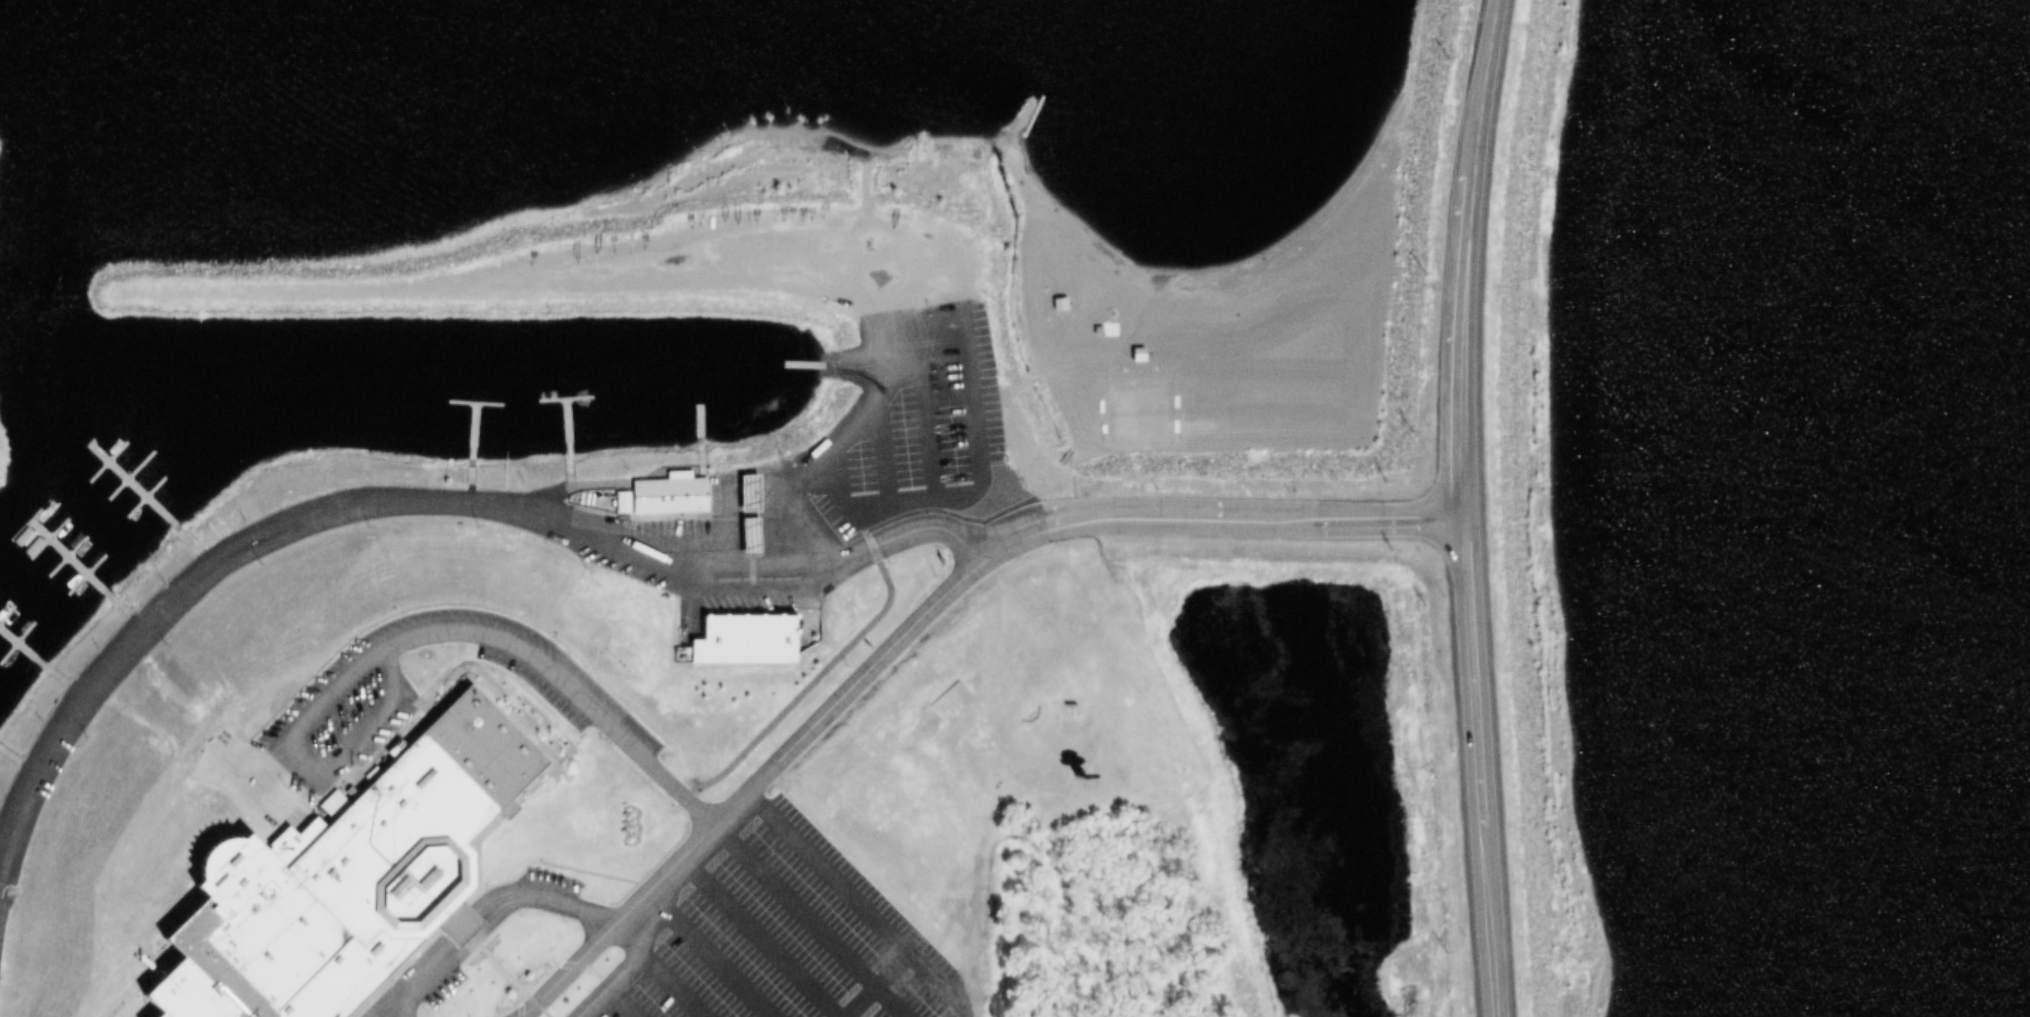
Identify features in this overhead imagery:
road: (1467, 87)
road: (1455, 350)
pier: (807, 367)
pier: (469, 405)
pier: (571, 407)
road: (862, 413)
pier: (704, 426)
pier: (481, 440)
pier: (107, 442)
pier: (127, 459)
pier: (90, 460)
pier: (574, 461)
pier: (109, 478)
pier: (139, 487)
building: (667, 497)
road: (424, 499)
pier: (157, 504)
pier: (158, 504)
pier: (50, 520)
building: (750, 534)
pier: (70, 537)
pier: (33, 538)
building: (579, 553)
pier: (52, 556)
pier: (82, 564)
pier: (93, 576)
pier: (101, 582)
pier: (3, 602)
road: (921, 620)
pier: (14, 632)
road: (463, 633)
building: (744, 641)
pier: (34, 650)
pier: (42, 658)
road: (1468, 676)
building: (1071, 716)
pier: (18, 760)
pier: (2, 855)
building: (323, 881)
road: (871, 899)
road: (489, 904)
road: (1485, 921)

